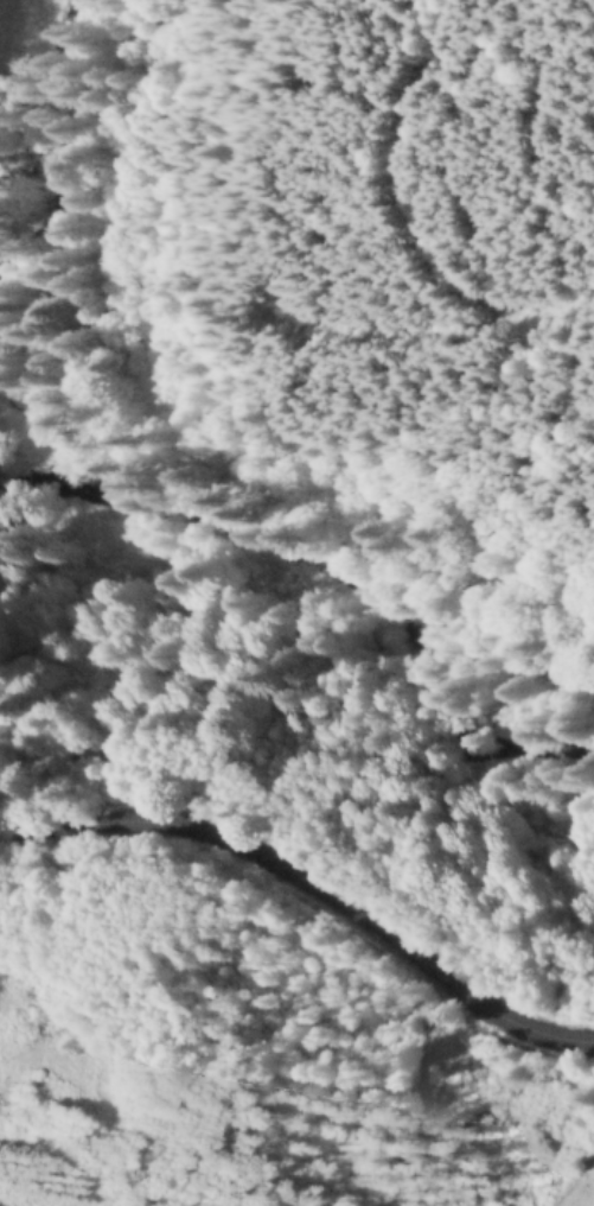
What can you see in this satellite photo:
road: (304, 899)

